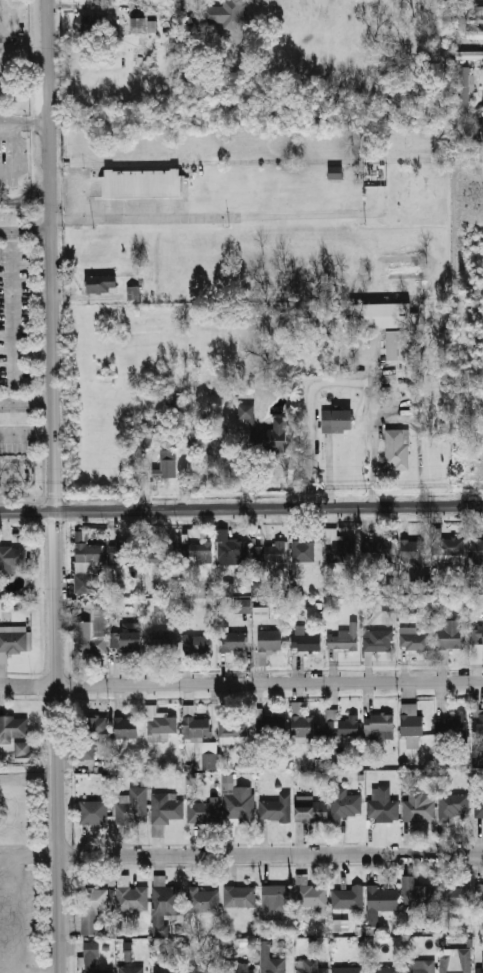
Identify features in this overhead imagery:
building: (470, 10)
building: (223, 13)
building: (138, 26)
building: (474, 35)
building: (469, 54)
building: (465, 90)
road: (14, 122)
road: (33, 122)
building: (482, 129)
road: (16, 154)
building: (336, 172)
building: (143, 182)
road: (82, 203)
road: (226, 217)
road: (26, 230)
building: (103, 284)
building: (132, 293)
road: (9, 315)
building: (381, 315)
building: (398, 344)
road: (32, 353)
road: (27, 401)
building: (173, 402)
road: (310, 416)
building: (337, 419)
road: (27, 430)
road: (372, 430)
building: (264, 431)
building: (145, 444)
building: (397, 449)
building: (166, 465)
road: (55, 486)
road: (269, 508)
road: (27, 511)
building: (449, 547)
building: (339, 548)
building: (477, 548)
building: (377, 550)
building: (162, 551)
building: (197, 551)
building: (231, 551)
building: (302, 551)
building: (270, 552)
building: (119, 553)
building: (412, 553)
building: (87, 557)
building: (10, 561)
building: (482, 580)
building: (256, 588)
building: (388, 604)
building: (242, 606)
building: (261, 612)
building: (92, 634)
building: (450, 634)
building: (342, 639)
building: (127, 640)
building: (162, 640)
building: (269, 640)
building: (378, 640)
building: (413, 640)
building: (13, 641)
building: (236, 641)
building: (198, 642)
building: (306, 642)
building: (476, 644)
road: (241, 684)
building: (411, 720)
building: (300, 722)
building: (478, 722)
building: (272, 723)
building: (195, 724)
building: (340, 724)
building: (159, 725)
building: (233, 725)
building: (14, 726)
building: (379, 726)
building: (451, 726)
building: (127, 727)
building: (90, 734)
building: (237, 800)
building: (345, 804)
building: (381, 804)
building: (419, 806)
building: (454, 806)
building: (479, 806)
building: (133, 808)
building: (167, 808)
building: (276, 808)
building: (311, 811)
building: (93, 812)
building: (203, 813)
road: (28, 846)
road: (269, 854)
road: (28, 855)
park: (21, 868)
building: (309, 893)
building: (416, 894)
building: (454, 895)
building: (241, 896)
building: (479, 896)
building: (347, 897)
building: (132, 898)
building: (165, 898)
building: (200, 900)
building: (275, 900)
building: (379, 902)
building: (91, 909)
parking lot: (17, 913)
road: (17, 914)
building: (340, 924)
building: (93, 959)
building: (271, 960)
building: (456, 961)
building: (480, 964)
building: (310, 967)
building: (419, 967)
building: (238, 968)
building: (167, 969)
building: (204, 969)
building: (131, 970)
building: (349, 970)
building: (384, 970)

